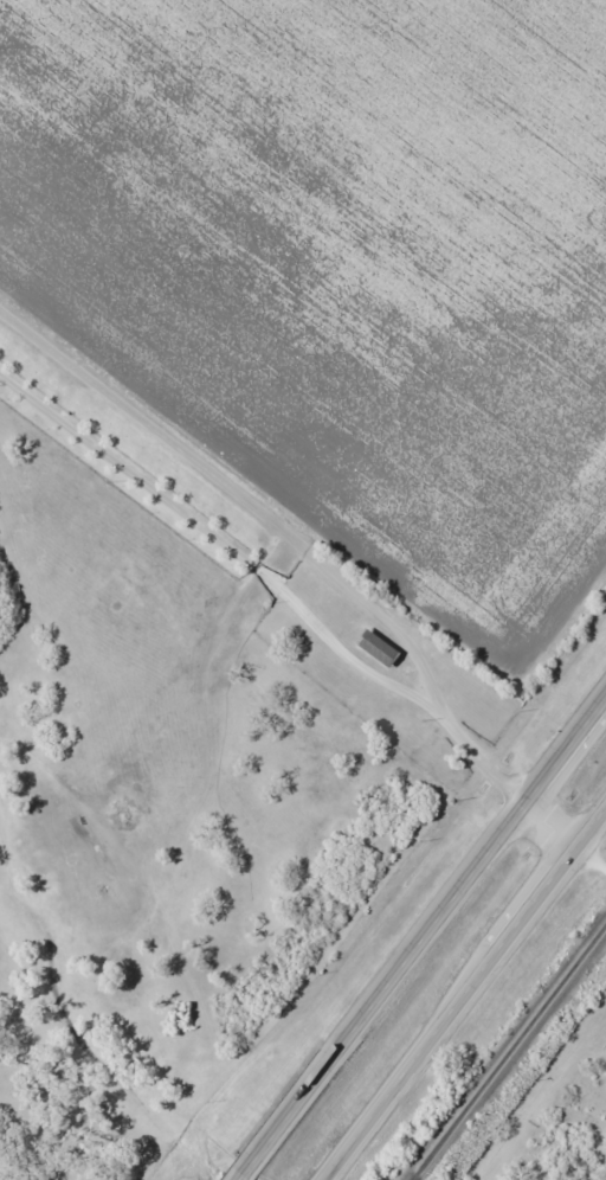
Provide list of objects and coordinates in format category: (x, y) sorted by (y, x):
road: (283, 543)
building: (374, 649)
road: (552, 826)
road: (592, 860)
road: (423, 938)
road: (466, 996)
railway: (512, 1054)
road: (561, 1123)

